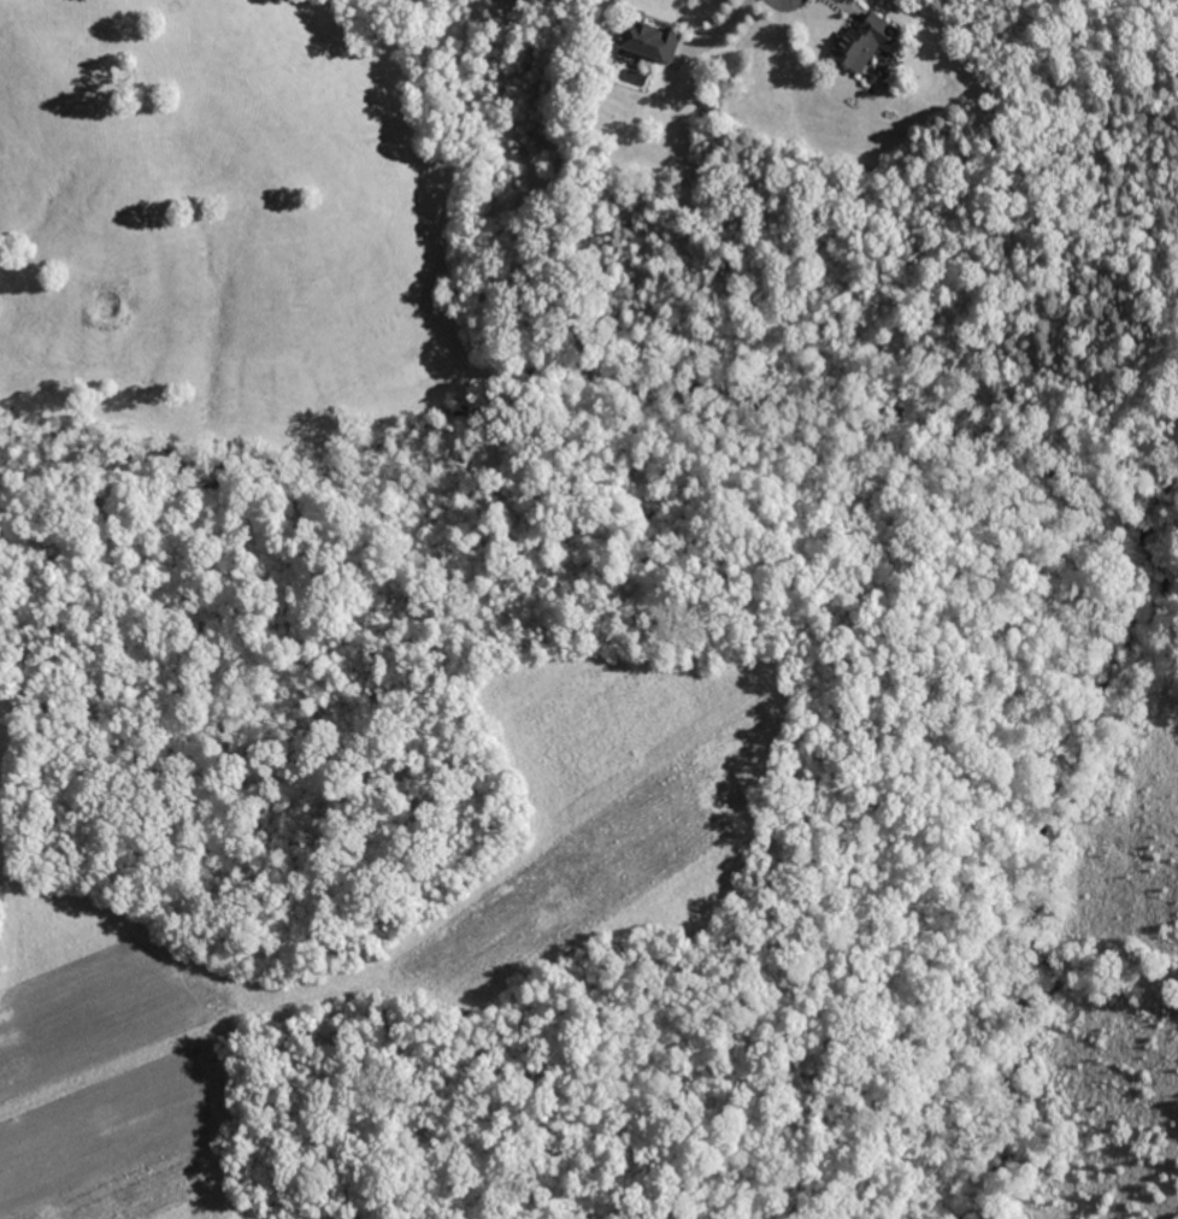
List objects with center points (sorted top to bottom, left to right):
building: (643, 41)
building: (860, 41)

